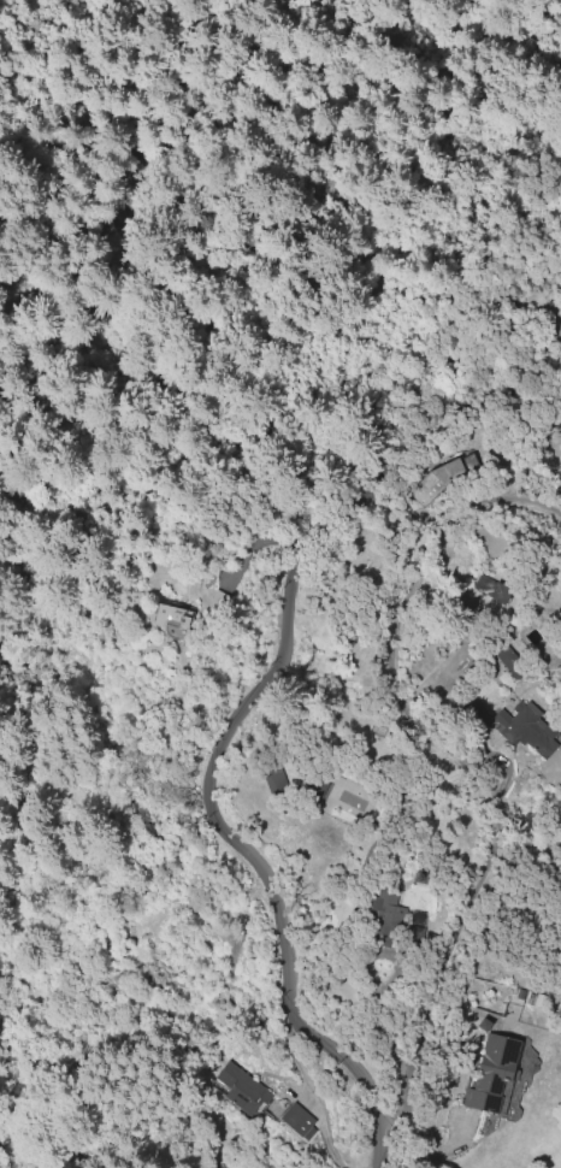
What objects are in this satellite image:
road: (157, 160)
building: (447, 471)
road: (264, 538)
building: (172, 619)
building: (508, 661)
road: (231, 727)
building: (525, 727)
road: (449, 757)
building: (274, 778)
building: (384, 916)
building: (412, 934)
road: (368, 979)
building: (492, 1073)
building: (238, 1087)
road: (308, 1090)
building: (297, 1121)

